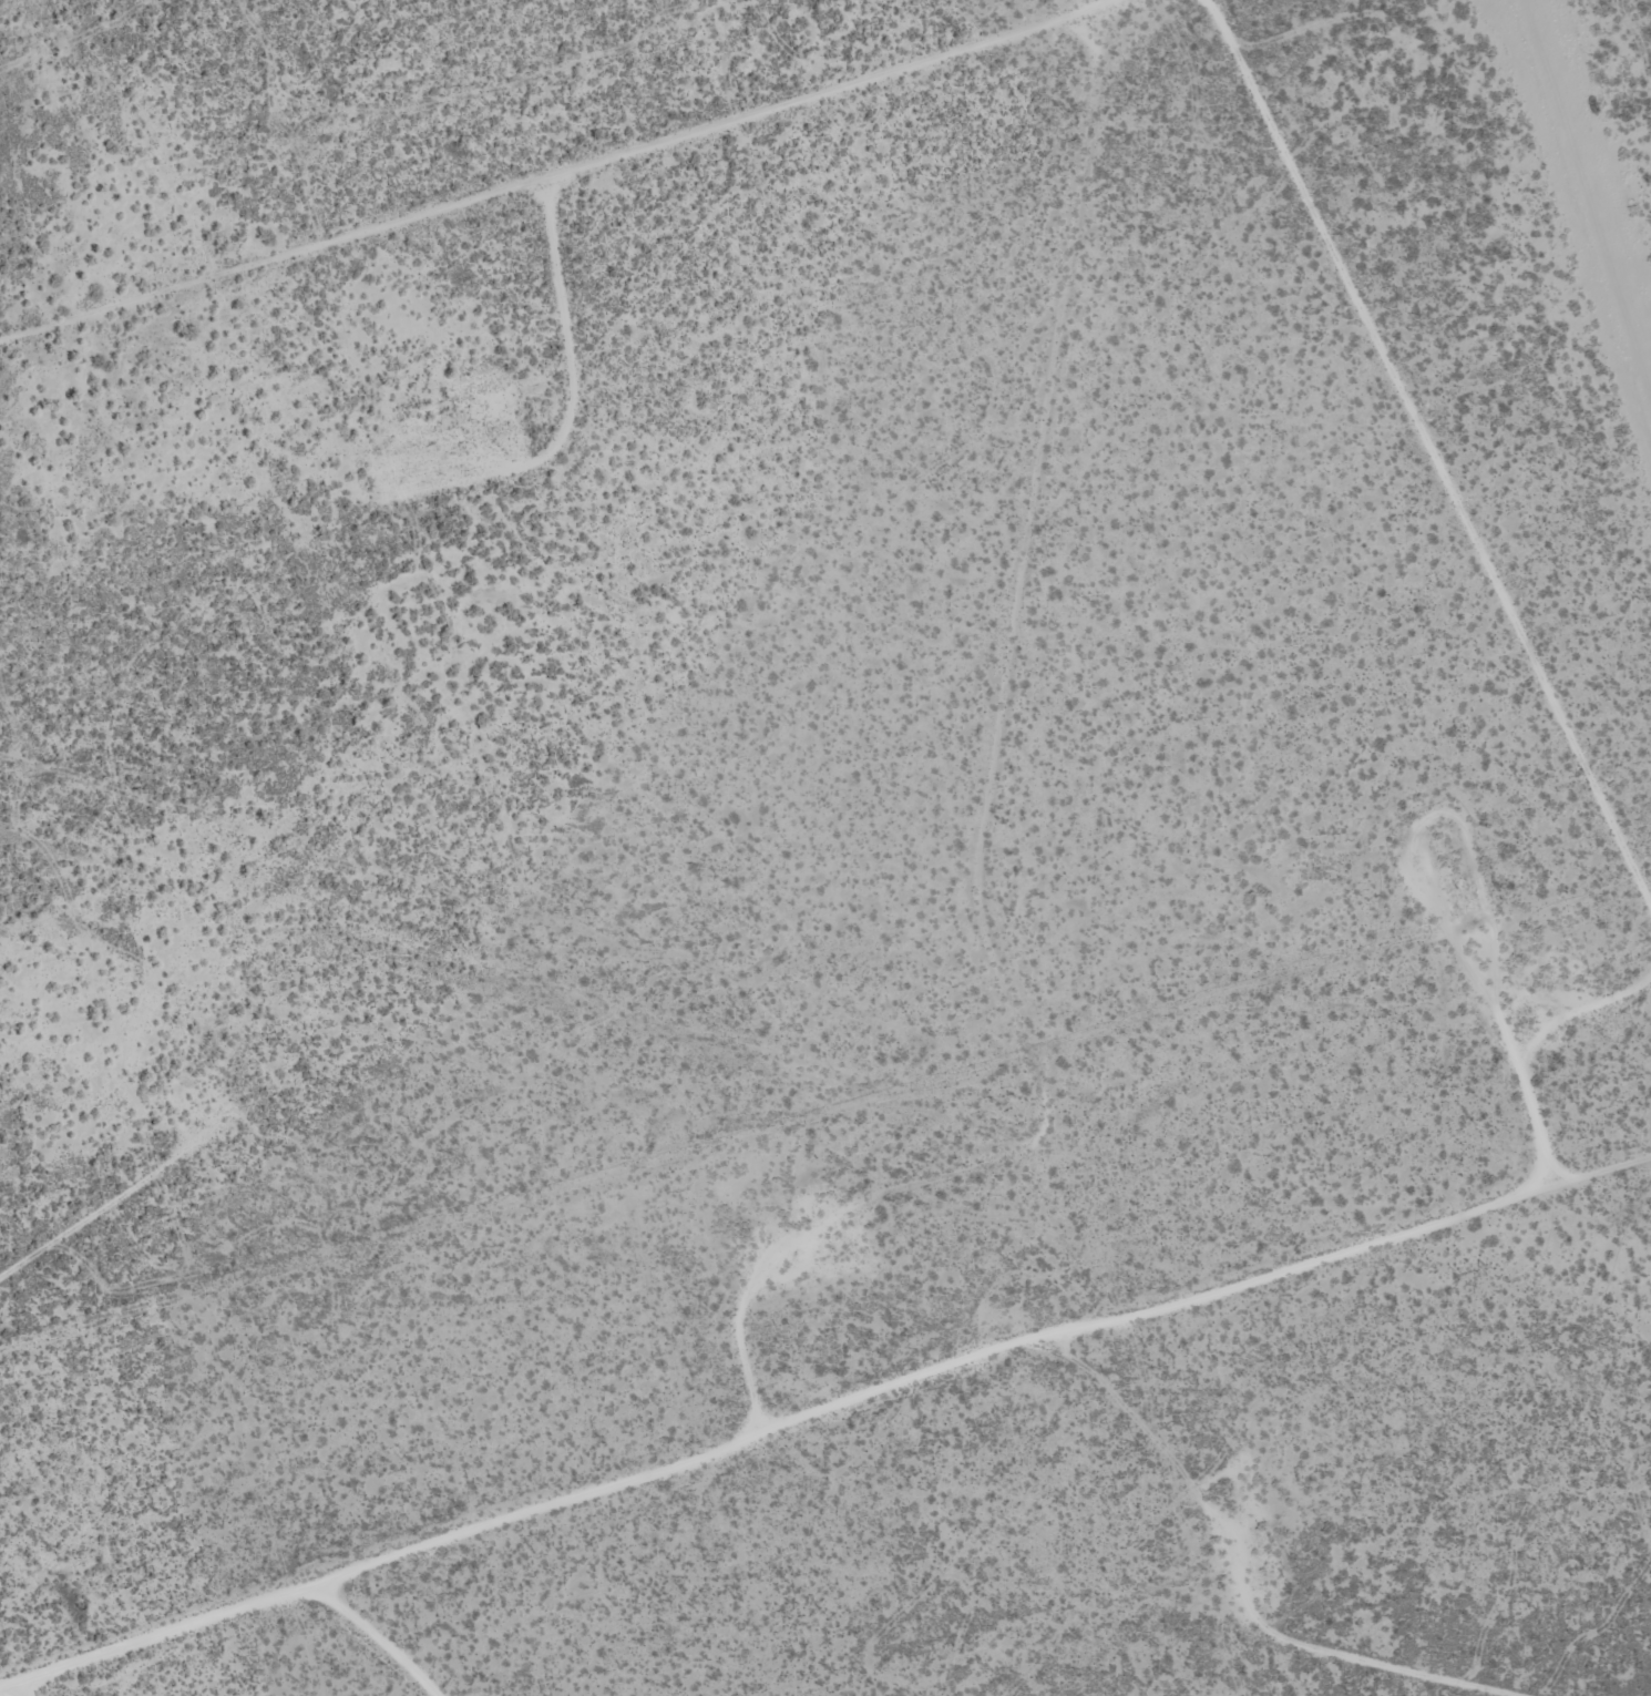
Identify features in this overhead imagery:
road: (1436, 464)
road: (1508, 1032)
road: (102, 1208)
road: (822, 1408)
road: (345, 1641)
road: (23, 1688)
road: (1304, 1692)

